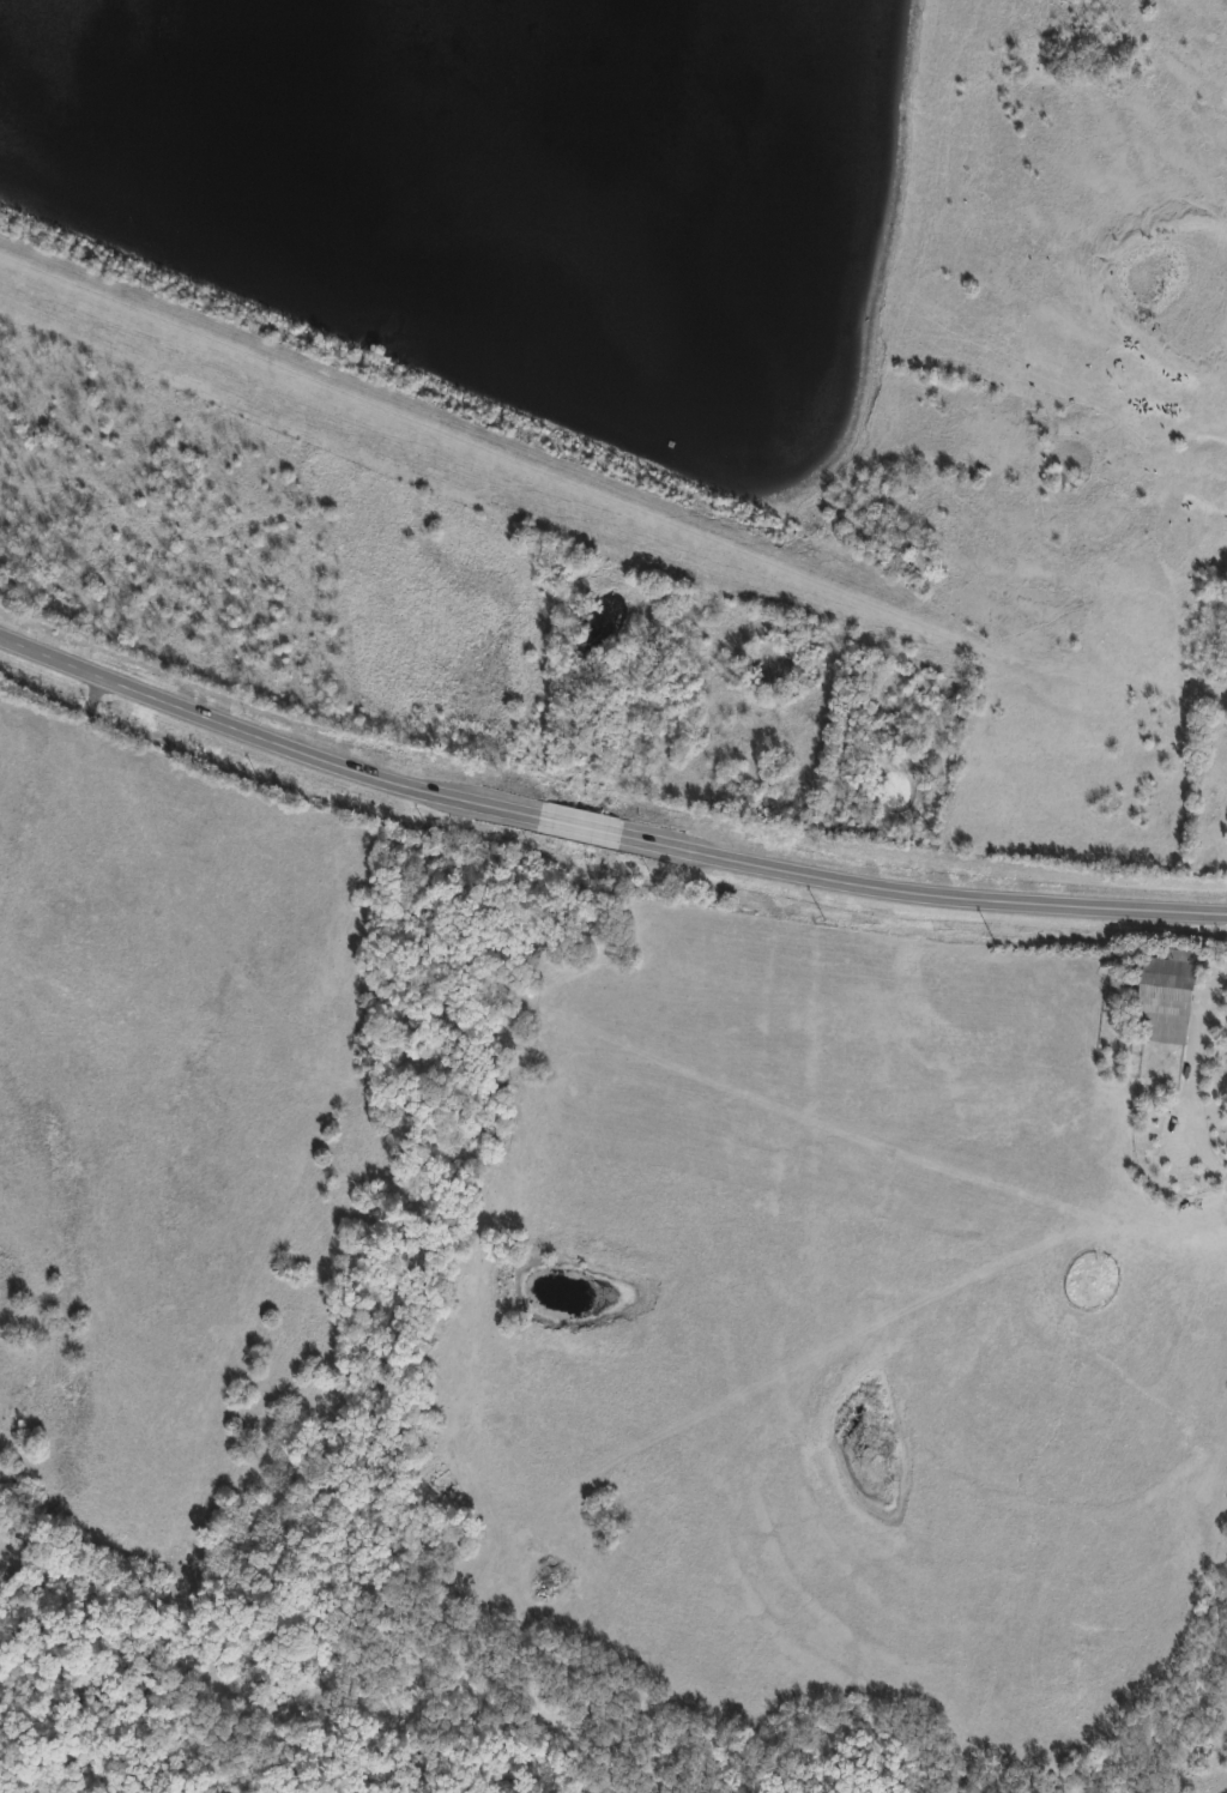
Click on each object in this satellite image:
road: (600, 829)
building: (1165, 1002)
road: (1192, 1069)
road: (1225, 1182)

